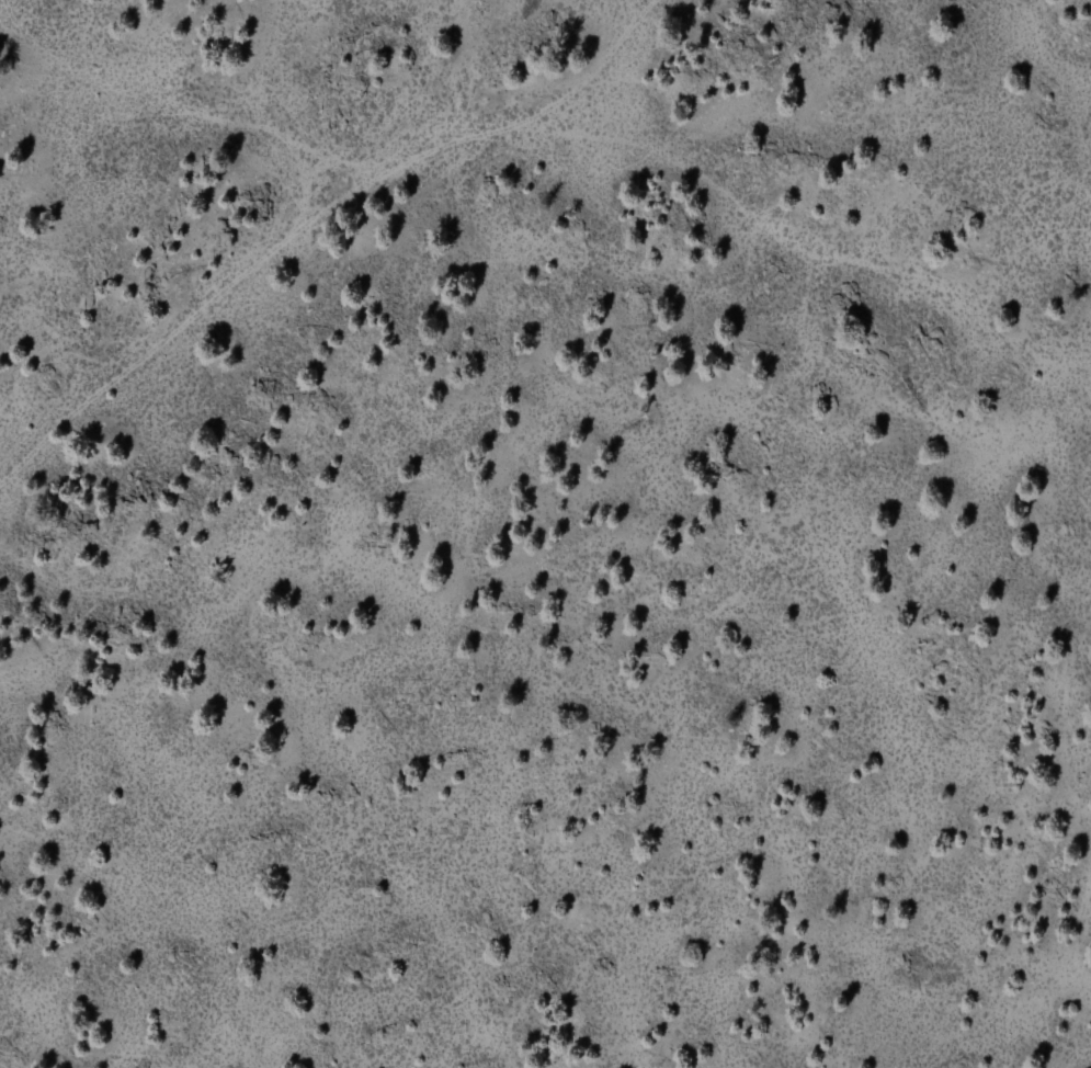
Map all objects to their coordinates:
road: (295, 144)
road: (325, 227)

